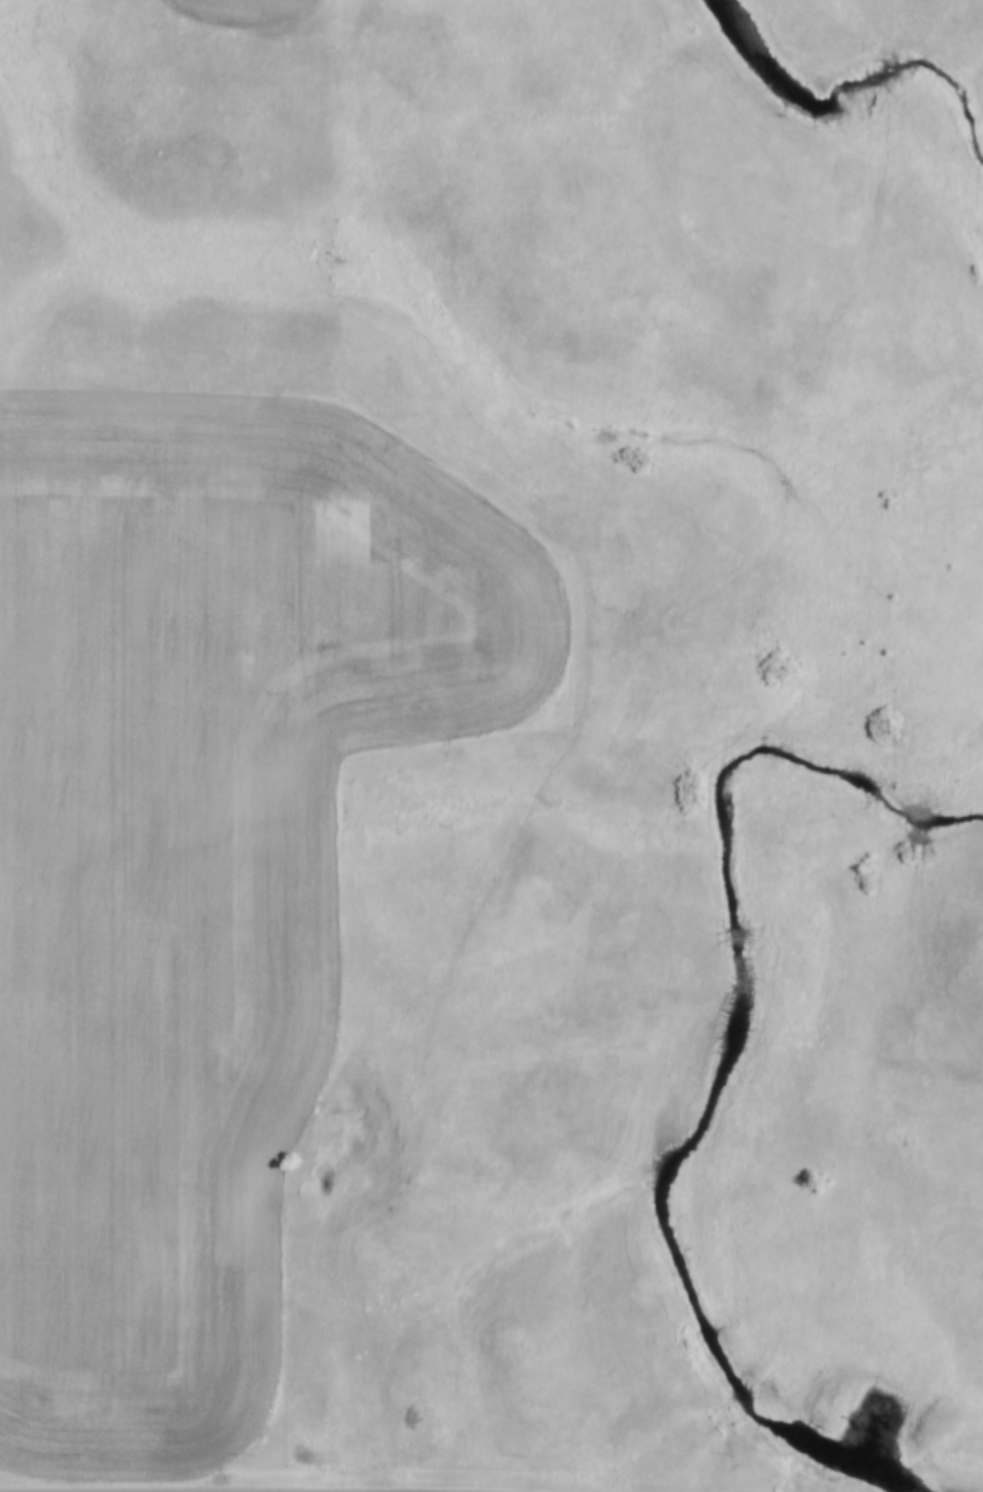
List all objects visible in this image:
road: (376, 1491)

